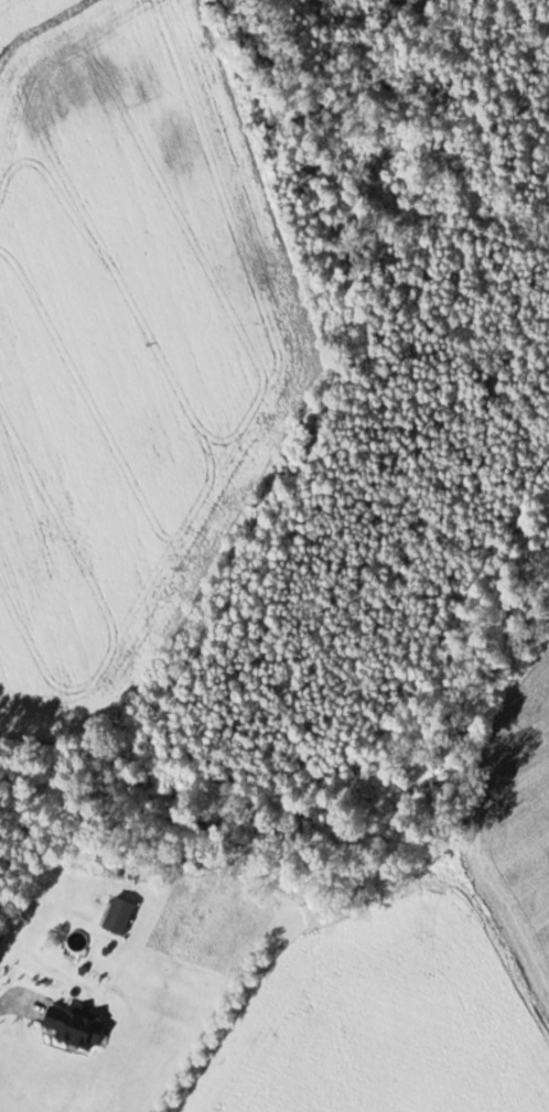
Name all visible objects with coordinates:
building: (123, 917)
building: (74, 1025)

